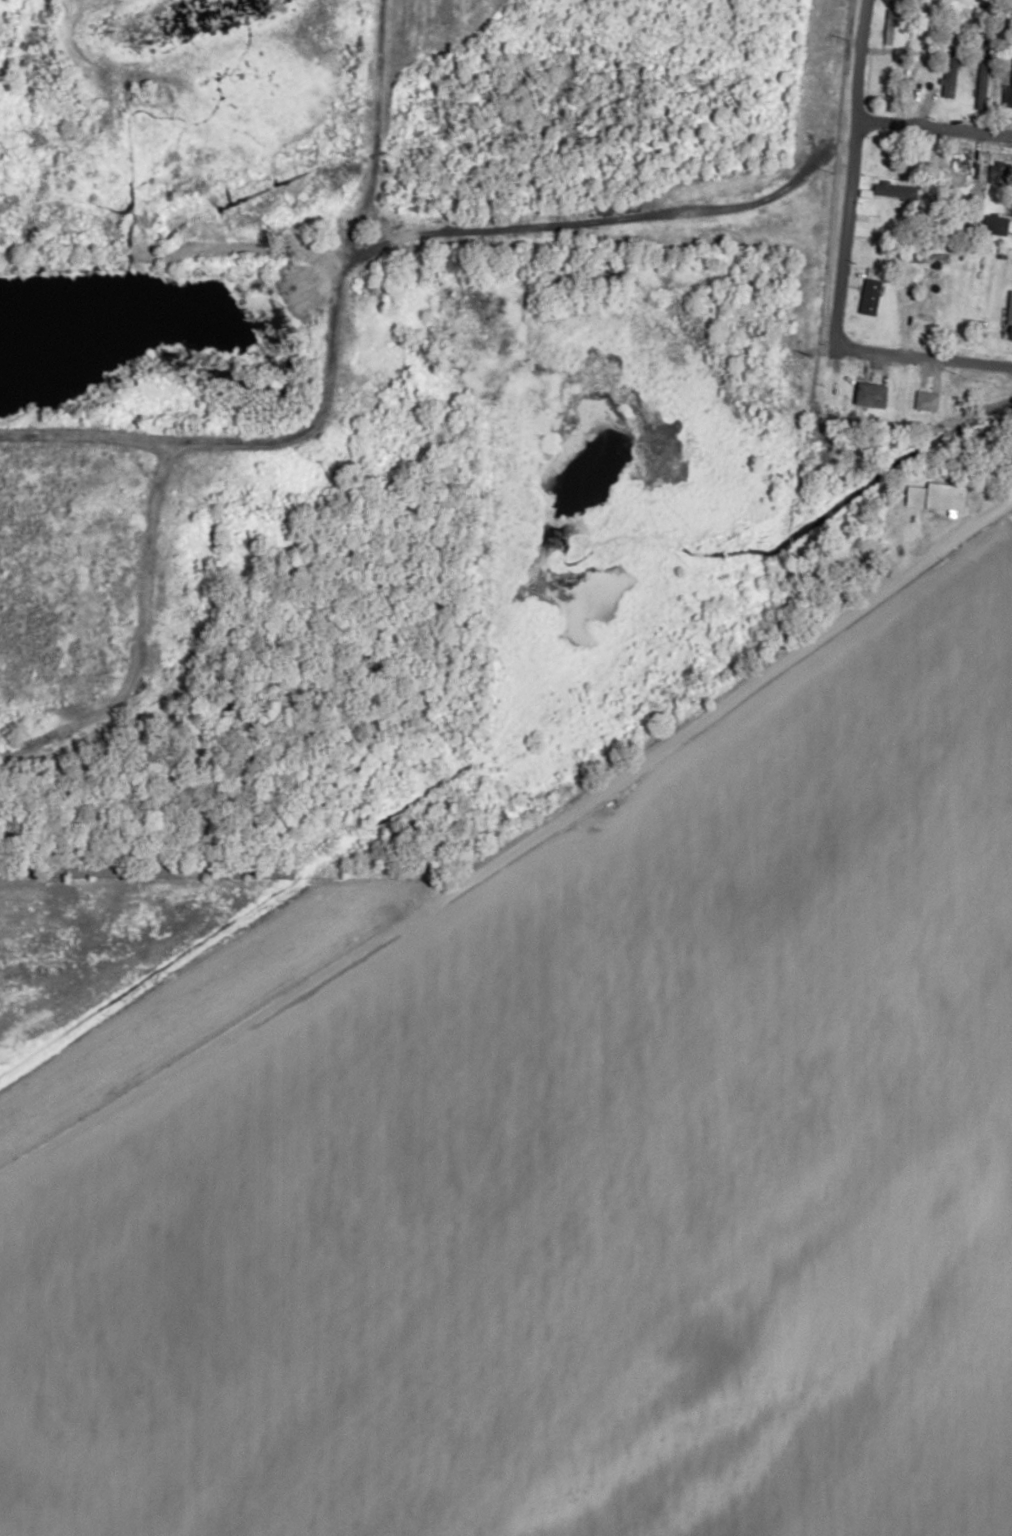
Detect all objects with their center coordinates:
building: (888, 27)
road: (856, 63)
building: (928, 67)
building: (950, 74)
building: (980, 86)
building: (1006, 96)
road: (931, 133)
building: (960, 174)
building: (887, 189)
building: (995, 225)
road: (840, 237)
road: (350, 272)
building: (869, 297)
road: (924, 360)
building: (871, 395)
building: (926, 401)
building: (937, 497)
road: (1006, 503)
road: (508, 853)

